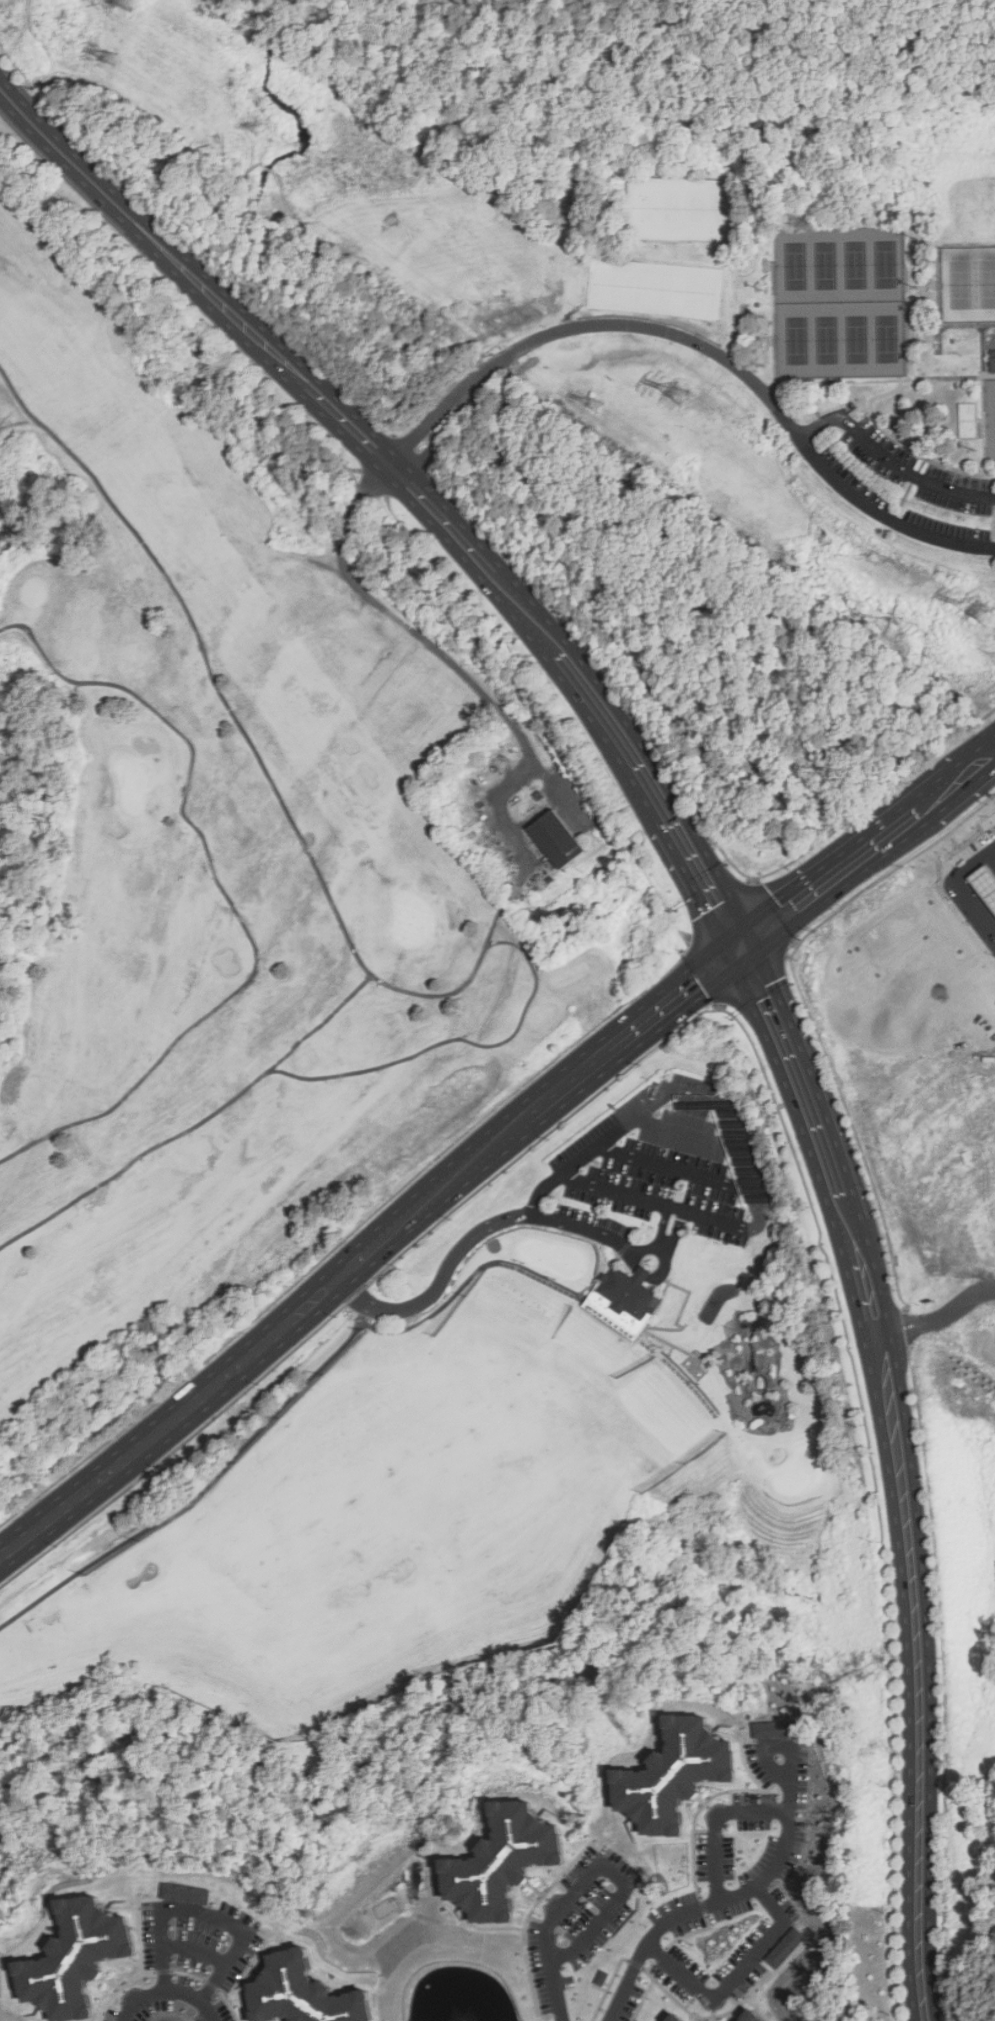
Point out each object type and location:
power tower: (120, 0)
road: (723, 35)
road: (533, 36)
power tower: (107, 58)
road: (67, 153)
park: (643, 209)
park: (670, 209)
park: (694, 210)
park: (719, 210)
park: (968, 223)
park: (826, 264)
park: (855, 264)
park: (885, 264)
park: (796, 265)
park: (987, 283)
park: (961, 284)
park: (604, 285)
park: (629, 287)
park: (654, 290)
park: (679, 292)
park: (705, 294)
road: (938, 314)
road: (909, 319)
road: (488, 321)
park: (632, 322)
road: (591, 325)
park: (857, 339)
park: (886, 339)
park: (797, 340)
park: (826, 340)
building: (992, 361)
road: (784, 380)
power tower: (679, 393)
road: (983, 399)
power tower: (592, 401)
road: (435, 415)
road: (872, 417)
road: (22, 422)
road: (801, 441)
parking lot: (909, 490)
power tower: (984, 610)
road: (448, 651)
road: (254, 744)
park: (124, 787)
road: (505, 822)
building: (567, 833)
park: (258, 842)
building: (985, 883)
road: (227, 895)
park: (414, 923)
traffic signals: (740, 942)
road: (776, 1013)
road: (459, 1041)
road: (195, 1126)
road: (737, 1146)
road: (495, 1147)
road: (676, 1208)
road: (664, 1222)
road: (677, 1226)
road: (485, 1229)
road: (351, 1234)
road: (359, 1291)
building: (624, 1299)
road: (939, 1318)
building: (776, 1729)
building: (675, 1775)
road: (714, 1825)
road: (783, 1842)
building: (504, 1861)
road: (607, 1867)
building: (186, 1894)
road: (201, 1913)
road: (646, 1943)
building: (784, 1947)
road: (193, 1948)
building: (77, 1958)
road: (735, 1975)
building: (603, 1978)
road: (172, 1988)
road: (559, 1992)
building: (302, 1993)
building: (751, 2016)
building: (675, 2018)

